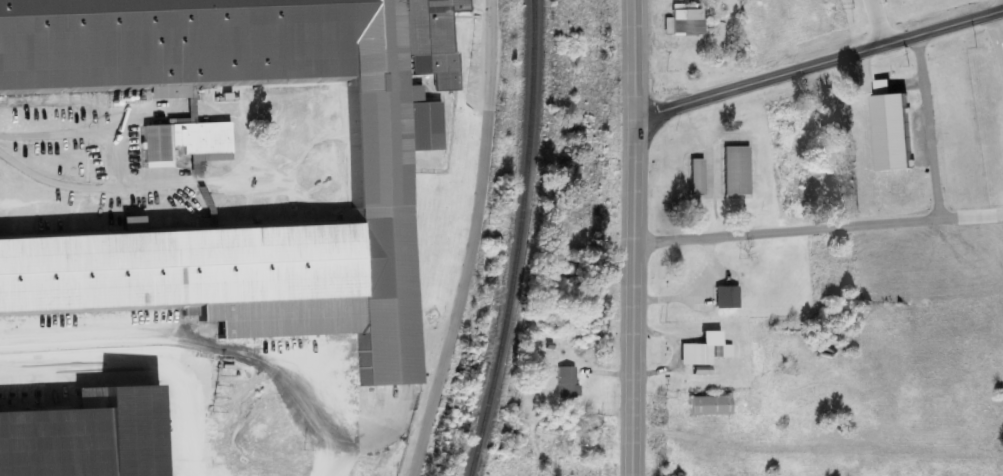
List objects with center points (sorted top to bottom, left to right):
building: (686, 21)
road: (635, 60)
road: (819, 66)
building: (897, 129)
building: (739, 171)
building: (699, 177)
road: (877, 225)
railway: (518, 240)
road: (474, 241)
road: (634, 298)
building: (729, 298)
building: (708, 350)
building: (570, 383)
building: (714, 406)

